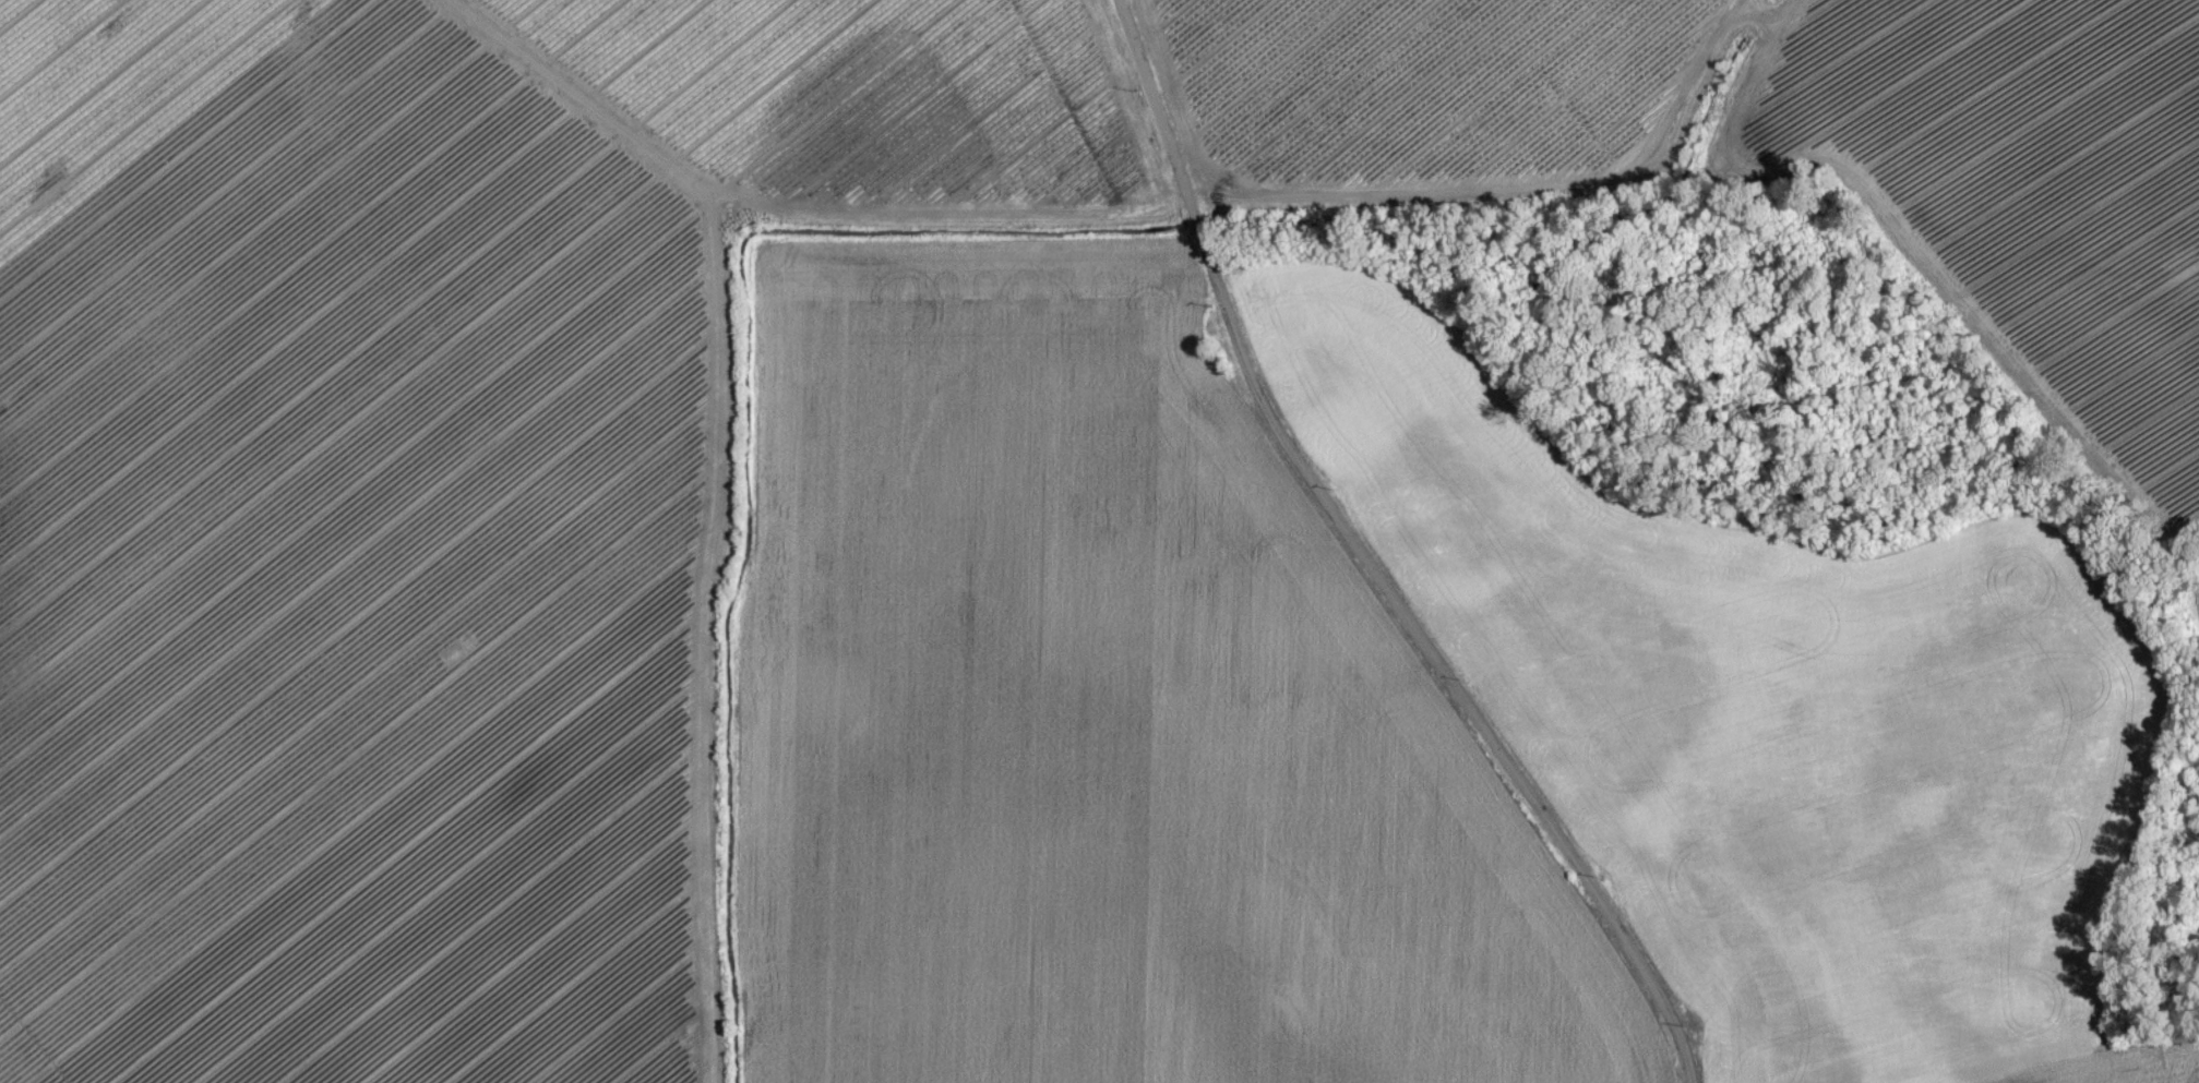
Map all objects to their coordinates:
road: (1363, 557)

